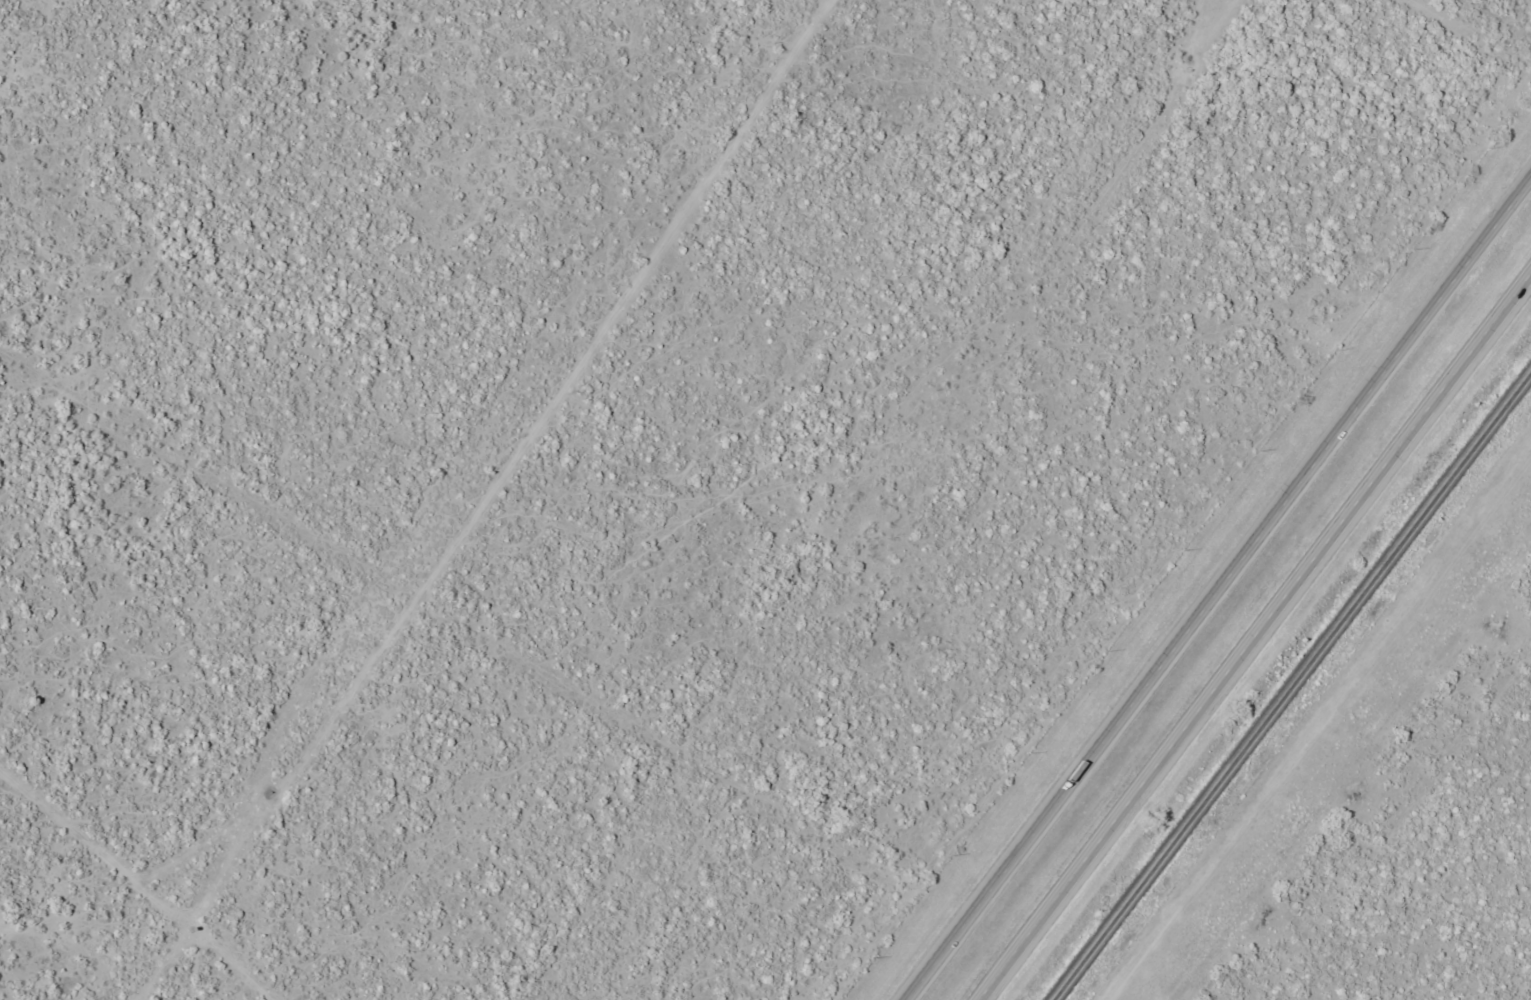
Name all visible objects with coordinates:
road: (1216, 589)
road: (1258, 637)
railway: (1293, 688)

